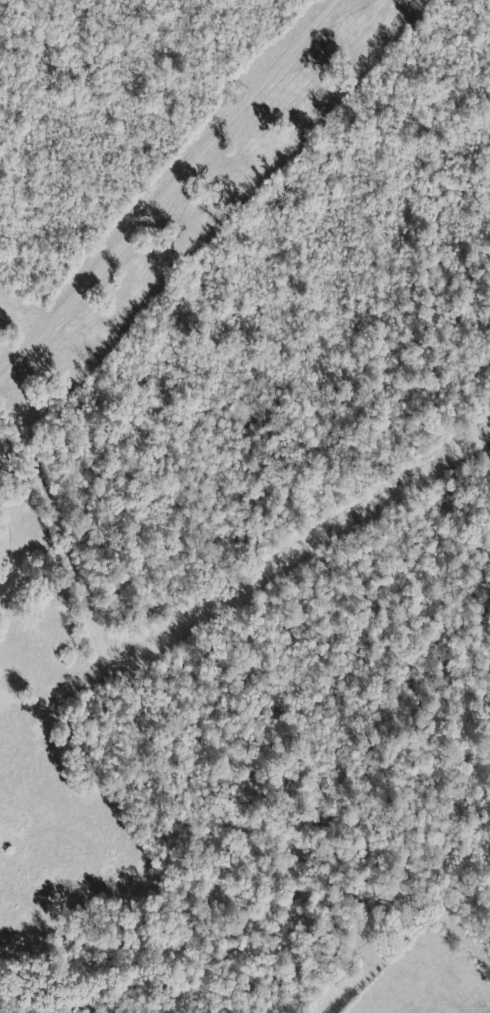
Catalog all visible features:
road: (173, 195)

